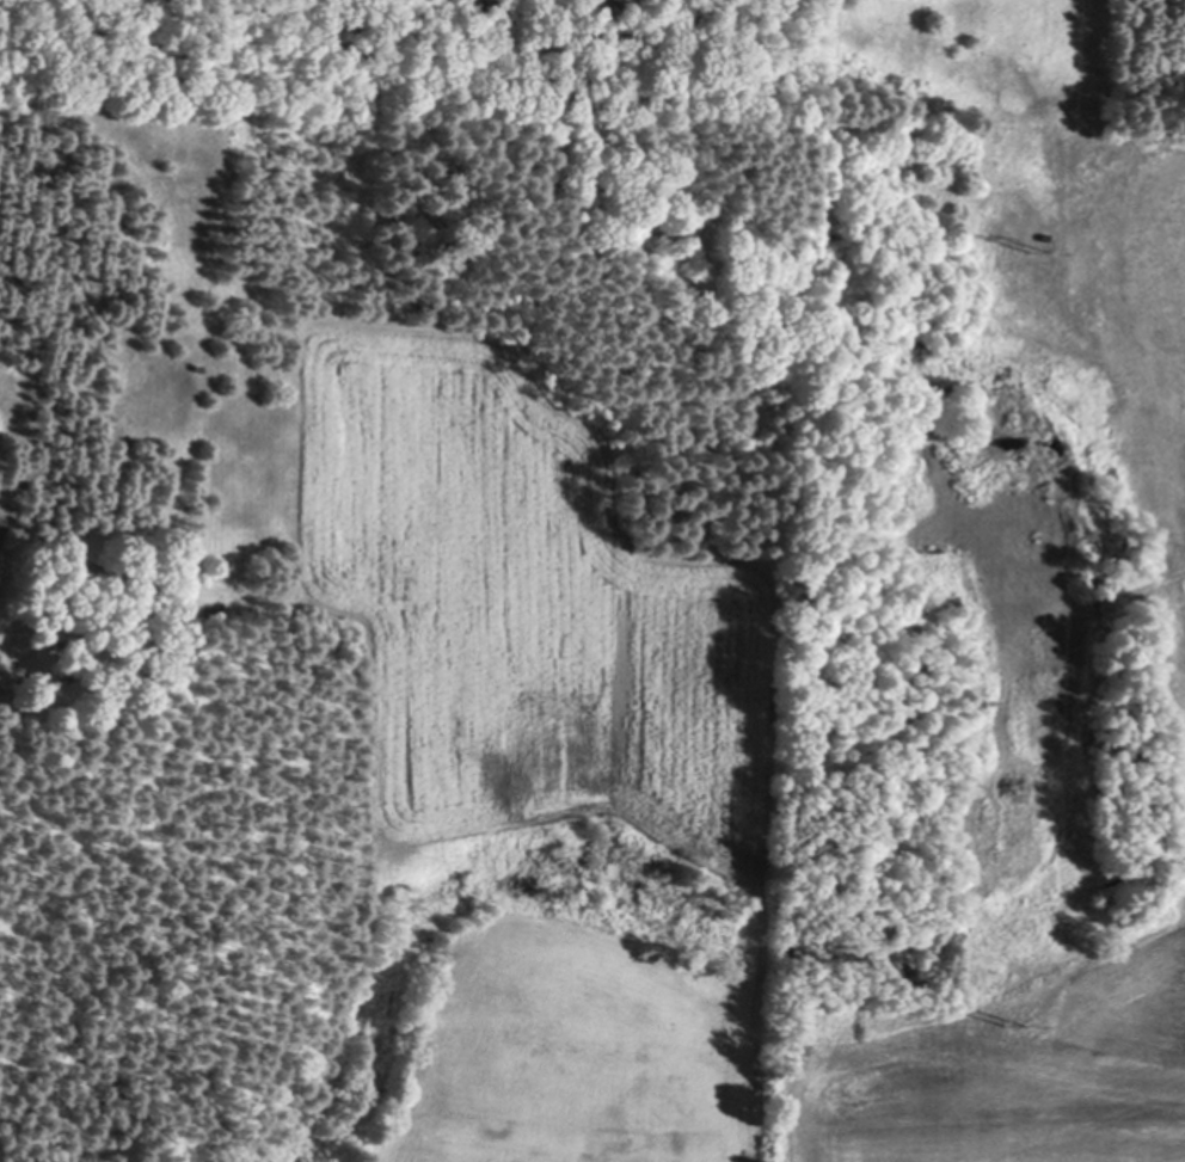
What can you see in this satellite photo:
power tower: (1034, 247)
quarry: (1149, 387)
power tower: (1013, 1020)

